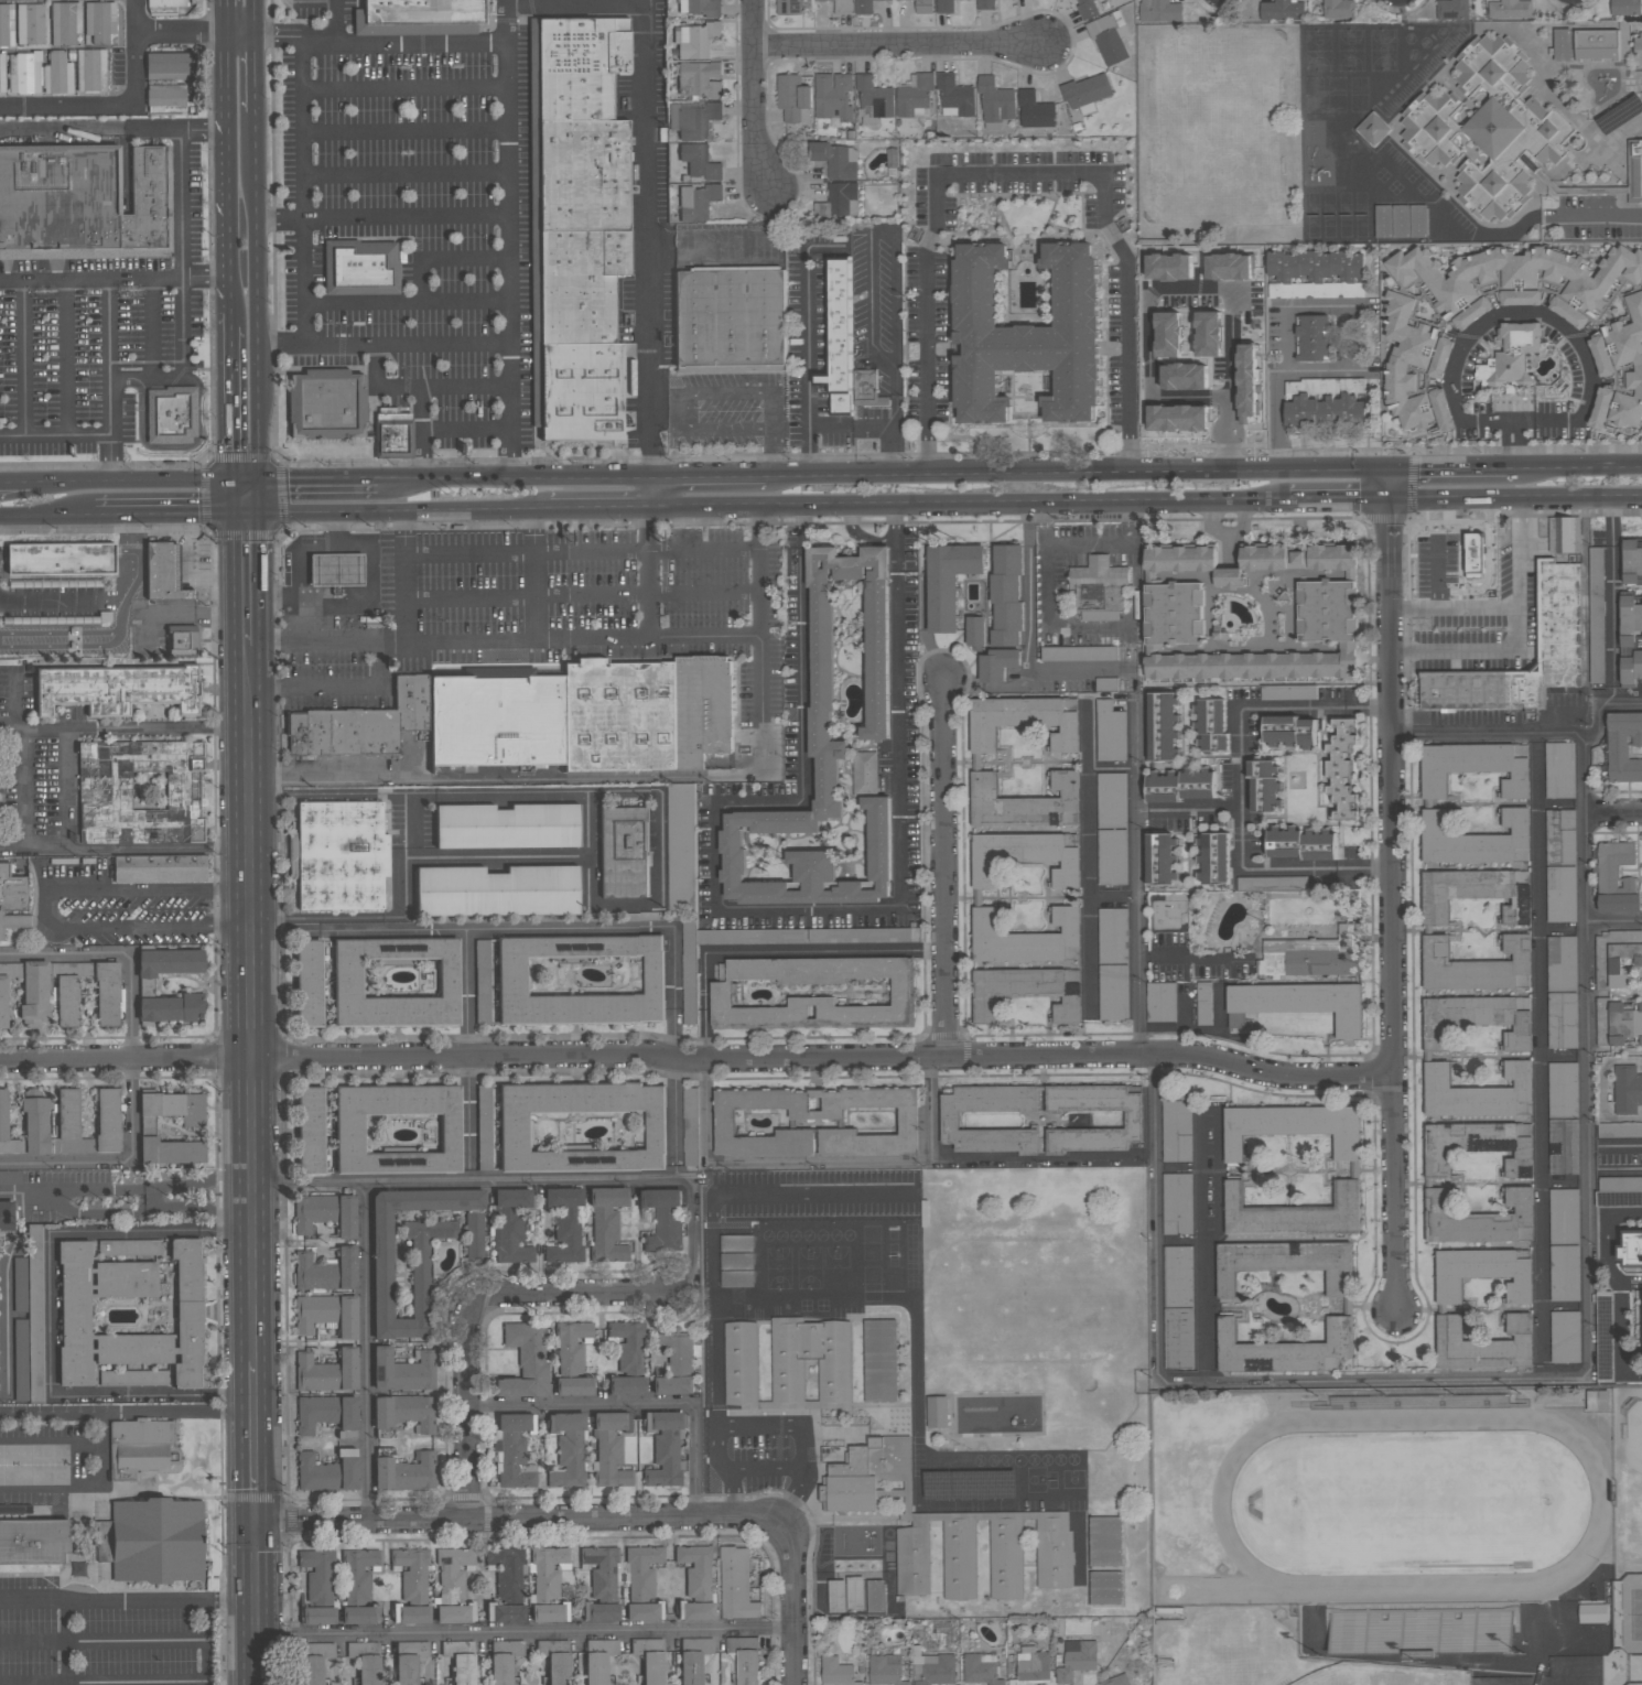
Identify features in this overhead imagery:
road: (312, 0)
building: (985, 4)
building: (164, 6)
building: (840, 6)
building: (701, 7)
building: (788, 7)
building: (865, 7)
building: (922, 7)
building: (944, 7)
road: (576, 8)
building: (1339, 8)
building: (1625, 8)
building: (1087, 9)
building: (1510, 9)
building: (1452, 10)
building: (424, 11)
building: (1159, 11)
building: (1282, 11)
road: (224, 18)
road: (252, 18)
building: (100, 21)
road: (336, 21)
building: (65, 22)
building: (7, 24)
building: (30, 24)
road: (180, 34)
road: (238, 35)
building: (1110, 37)
building: (695, 39)
road: (378, 42)
building: (1562, 44)
building: (1597, 45)
road: (899, 48)
building: (1638, 50)
road: (136, 51)
building: (168, 65)
building: (91, 69)
building: (2, 72)
building: (40, 73)
road: (253, 74)
building: (699, 80)
road: (403, 88)
building: (1087, 93)
building: (915, 96)
road: (750, 97)
building: (833, 97)
building: (874, 98)
building: (955, 98)
building: (165, 99)
building: (793, 99)
building: (996, 100)
road: (66, 105)
building: (1035, 111)
building: (693, 119)
building: (1432, 128)
road: (100, 130)
road: (175, 130)
building: (1504, 130)
road: (404, 132)
road: (303, 152)
building: (836, 160)
building: (700, 162)
building: (1634, 171)
road: (226, 173)
road: (404, 173)
road: (1020, 176)
building: (843, 199)
building: (83, 202)
building: (698, 202)
road: (404, 218)
building: (1383, 222)
building: (1401, 222)
building: (1418, 222)
building: (579, 225)
road: (872, 234)
road: (1498, 236)
road: (650, 238)
road: (507, 239)
road: (821, 246)
road: (442, 259)
building: (363, 267)
building: (1317, 274)
road: (115, 278)
building: (1517, 281)
road: (258, 298)
road: (407, 302)
road: (305, 304)
road: (1526, 313)
road: (230, 318)
building: (731, 318)
road: (110, 326)
building: (1027, 335)
building: (1314, 337)
road: (408, 344)
road: (1230, 344)
building: (844, 346)
building: (1617, 354)
road: (24, 357)
road: (67, 357)
building: (1511, 357)
road: (1285, 359)
building: (1412, 361)
road: (807, 365)
road: (1325, 368)
road: (179, 370)
road: (895, 380)
road: (423, 388)
road: (682, 395)
building: (1325, 402)
road: (231, 404)
building: (327, 404)
building: (1441, 410)
road: (895, 413)
building: (171, 414)
road: (1503, 420)
road: (1525, 421)
road: (828, 430)
road: (878, 430)
road: (467, 431)
road: (424, 433)
building: (393, 438)
road: (1505, 445)
road: (1514, 445)
road: (165, 447)
road: (776, 453)
road: (894, 453)
road: (110, 460)
road: (1578, 467)
road: (1454, 469)
traffic signals: (1392, 472)
road: (1151, 473)
road: (709, 476)
road: (836, 476)
road: (515, 477)
road: (320, 483)
road: (15, 484)
road: (132, 484)
traffic signals: (234, 484)
road: (248, 484)
traffic signals: (262, 484)
road: (1409, 486)
road: (652, 493)
road: (1516, 496)
road: (1340, 498)
traffic signals: (1392, 498)
road: (239, 499)
road: (253, 499)
road: (970, 503)
road: (599, 509)
road: (397, 512)
road: (169, 515)
traffic signals: (246, 515)
road: (46, 516)
road: (1386, 519)
road: (171, 523)
building: (1564, 534)
road: (1089, 543)
road: (137, 546)
road: (1298, 546)
road: (1516, 551)
road: (582, 552)
road: (192, 554)
road: (296, 555)
building: (1180, 559)
building: (1478, 559)
parking lot: (1435, 562)
building: (1632, 562)
building: (67, 563)
road: (1488, 566)
building: (336, 570)
gas station: (336, 570)
building: (165, 574)
road: (652, 574)
road: (537, 576)
building: (1229, 577)
road: (246, 579)
road: (1434, 580)
building: (949, 582)
road: (132, 587)
building: (1099, 590)
road: (1254, 590)
fountain: (1279, 591)
road: (1292, 592)
road: (582, 594)
building: (1007, 596)
road: (366, 598)
road: (63, 602)
road: (1289, 609)
building: (1327, 611)
road: (198, 615)
building: (1174, 615)
building: (1596, 615)
building: (52, 617)
building: (1558, 617)
road: (1089, 626)
road: (1517, 627)
road: (1274, 629)
road: (76, 630)
building: (976, 631)
road: (150, 634)
building: (183, 640)
road: (583, 641)
building: (1628, 642)
road: (326, 644)
road: (64, 646)
road: (1252, 649)
building: (1079, 654)
road: (248, 660)
building: (998, 665)
building: (1631, 669)
building: (114, 689)
road: (337, 689)
building: (1288, 693)
road: (14, 703)
road: (760, 708)
road: (1608, 714)
building: (553, 719)
building: (1023, 722)
building: (1212, 725)
road: (97, 730)
building: (1289, 732)
building: (1110, 733)
road: (13, 743)
building: (1623, 747)
building: (830, 755)
building: (1472, 768)
building: (1341, 770)
road: (26, 771)
building: (1559, 771)
road: (506, 779)
building: (1181, 786)
building: (1264, 786)
road: (1238, 788)
building: (143, 792)
building: (1112, 800)
building: (1025, 802)
road: (1562, 807)
road: (1613, 809)
road: (404, 824)
road: (591, 824)
building: (508, 825)
road: (1088, 834)
building: (1560, 836)
building: (1476, 840)
building: (1301, 844)
building: (681, 846)
road: (161, 851)
road: (34, 852)
building: (625, 852)
building: (341, 855)
building: (1026, 856)
building: (1112, 857)
building: (1214, 858)
building: (1162, 860)
building: (1277, 862)
building: (160, 868)
road: (252, 868)
road: (944, 869)
building: (1617, 878)
road: (1136, 881)
building: (1272, 883)
building: (499, 890)
road: (1389, 890)
building: (1474, 894)
building: (1560, 895)
building: (12, 899)
road: (661, 903)
road: (48, 909)
road: (764, 911)
road: (1614, 923)
road: (1563, 927)
road: (528, 928)
building: (803, 936)
building: (1113, 936)
building: (1027, 939)
road: (770, 952)
building: (1312, 955)
building: (1617, 959)
building: (170, 962)
building: (1562, 963)
building: (1477, 966)
building: (689, 972)
building: (581, 980)
building: (483, 981)
building: (397, 982)
building: (310, 983)
building: (62, 992)
building: (812, 993)
building: (1025, 993)
building: (1113, 993)
road: (466, 994)
building: (1160, 1002)
building: (1203, 1004)
building: (1298, 1004)
building: (169, 1008)
building: (1477, 1020)
building: (1562, 1020)
building: (1618, 1023)
road: (131, 1057)
road: (1563, 1057)
road: (1540, 1058)
road: (695, 1059)
road: (1605, 1089)
building: (1563, 1090)
building: (1627, 1090)
building: (1478, 1092)
road: (928, 1109)
road: (467, 1120)
road: (674, 1120)
building: (1133, 1120)
building: (950, 1121)
building: (725, 1124)
building: (45, 1126)
building: (690, 1126)
building: (484, 1127)
building: (582, 1127)
building: (1293, 1127)
building: (398, 1128)
building: (311, 1130)
building: (1619, 1131)
building: (1176, 1132)
building: (148, 1134)
building: (1477, 1147)
building: (1563, 1147)
road: (882, 1159)
building: (10, 1177)
road: (474, 1180)
road: (1564, 1181)
road: (12, 1192)
building: (1619, 1192)
road: (139, 1198)
building: (1177, 1203)
road: (256, 1210)
building: (326, 1213)
building: (1294, 1214)
building: (7, 1216)
building: (1564, 1216)
building: (1479, 1219)
building: (663, 1220)
building: (512, 1224)
building: (564, 1224)
building: (607, 1224)
building: (474, 1235)
road: (714, 1238)
building: (737, 1243)
road: (1207, 1245)
building: (128, 1246)
road: (693, 1249)
building: (1632, 1250)
building: (737, 1261)
building: (1285, 1263)
building: (326, 1271)
building: (1564, 1273)
building: (1482, 1274)
building: (382, 1278)
building: (737, 1278)
road: (1620, 1283)
building: (20, 1284)
road: (4, 1296)
building: (1178, 1308)
road: (1565, 1308)
building: (314, 1313)
road: (50, 1314)
building: (75, 1316)
building: (347, 1318)
road: (468, 1318)
building: (31, 1327)
road: (1590, 1335)
building: (1565, 1337)
building: (628, 1343)
building: (1483, 1344)
building: (572, 1347)
building: (1287, 1350)
road: (364, 1352)
building: (525, 1361)
building: (881, 1361)
building: (677, 1363)
building: (741, 1364)
building: (810, 1364)
building: (403, 1370)
building: (327, 1372)
building: (133, 1378)
building: (574, 1385)
building: (627, 1385)
building: (1597, 1401)
road: (637, 1402)
road: (128, 1412)
building: (406, 1412)
building: (937, 1412)
building: (326, 1413)
road: (106, 1427)
road: (778, 1427)
road: (53, 1441)
road: (257, 1443)
building: (140, 1447)
building: (665, 1447)
building: (611, 1449)
building: (568, 1450)
building: (514, 1452)
park: (1633, 1454)
road: (763, 1470)
building: (328, 1471)
building: (406, 1472)
building: (871, 1477)
road: (73, 1486)
road: (792, 1493)
road: (728, 1495)
road: (523, 1522)
traffic signals: (257, 1524)
building: (33, 1541)
building: (153, 1541)
building: (1105, 1542)
building: (1054, 1558)
building: (602, 1569)
building: (696, 1569)
building: (507, 1570)
building: (642, 1570)
building: (358, 1573)
building: (411, 1573)
building: (317, 1574)
building: (549, 1585)
building: (737, 1585)
building: (454, 1586)
building: (1105, 1588)
building: (855, 1594)
building: (838, 1596)
building: (876, 1596)
road: (231, 1600)
road: (102, 1601)
road: (790, 1601)
road: (257, 1605)
building: (696, 1610)
building: (604, 1611)
building: (645, 1611)
building: (506, 1613)
building: (1592, 1613)
building: (413, 1614)
building: (318, 1616)
road: (523, 1634)
road: (67, 1643)
road: (207, 1643)
building: (552, 1645)
building: (321, 1649)
building: (599, 1659)
building: (650, 1659)
building: (693, 1659)
building: (746, 1659)
building: (410, 1660)
building: (504, 1660)
building: (1077, 1660)
building: (367, 1661)
building: (462, 1661)
building: (1031, 1665)
building: (559, 1668)
building: (312, 1670)
building: (886, 1670)
building: (933, 1670)
building: (981, 1670)
building: (836, 1672)
building: (1116, 1681)

